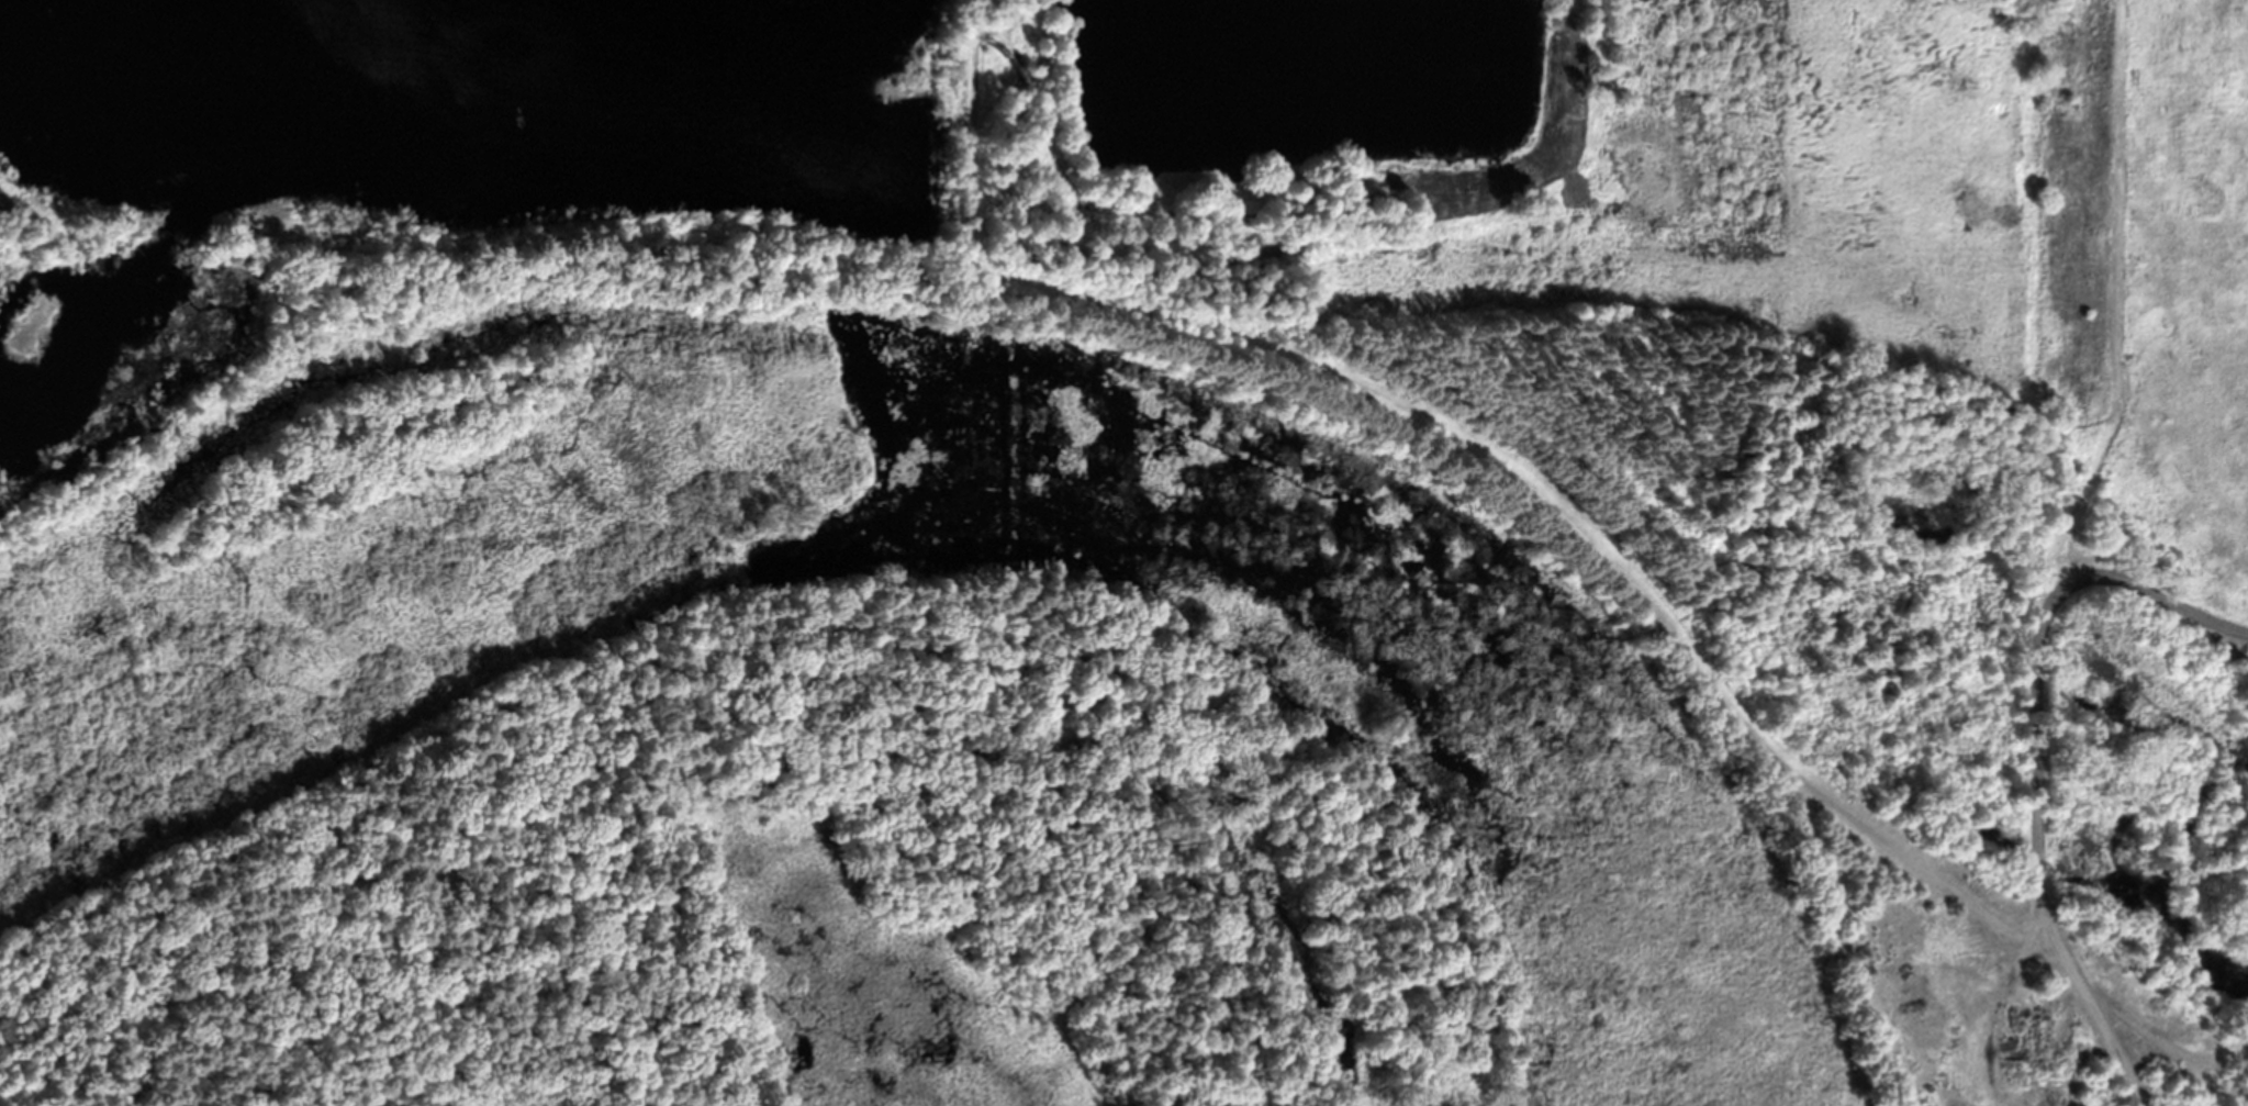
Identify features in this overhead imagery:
road: (975, 120)

